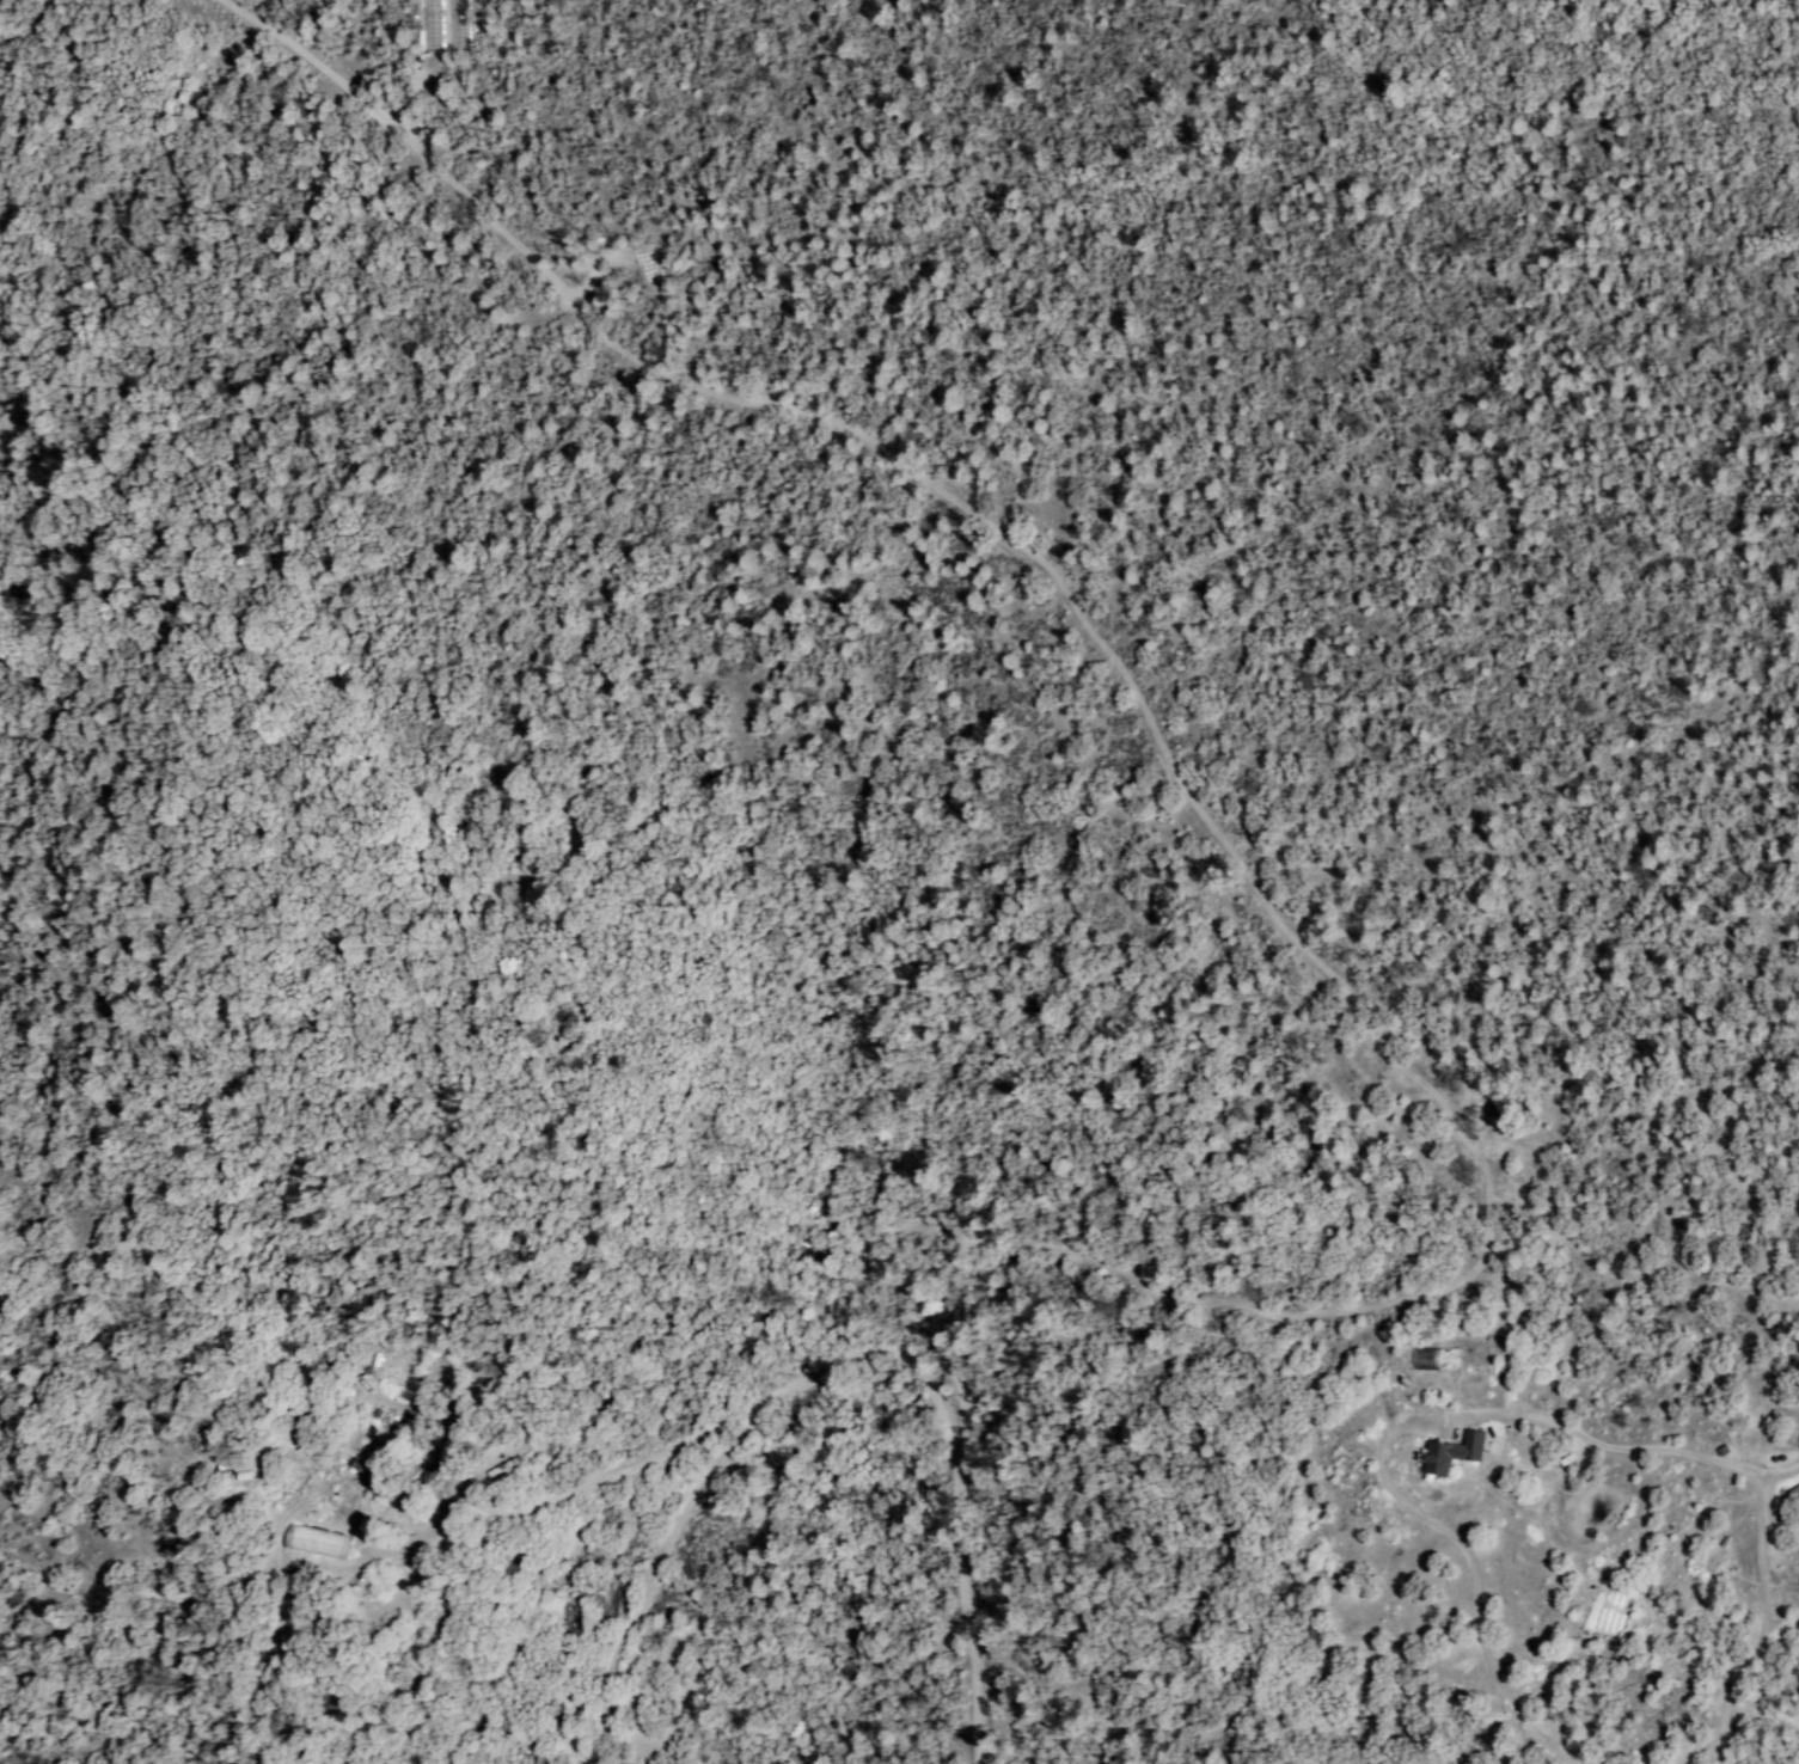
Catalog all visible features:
building: (1433, 1359)
road: (820, 1368)
road: (1384, 1441)
building: (1452, 1453)
building: (429, 1471)
road: (1762, 1630)
road: (1700, 1747)

